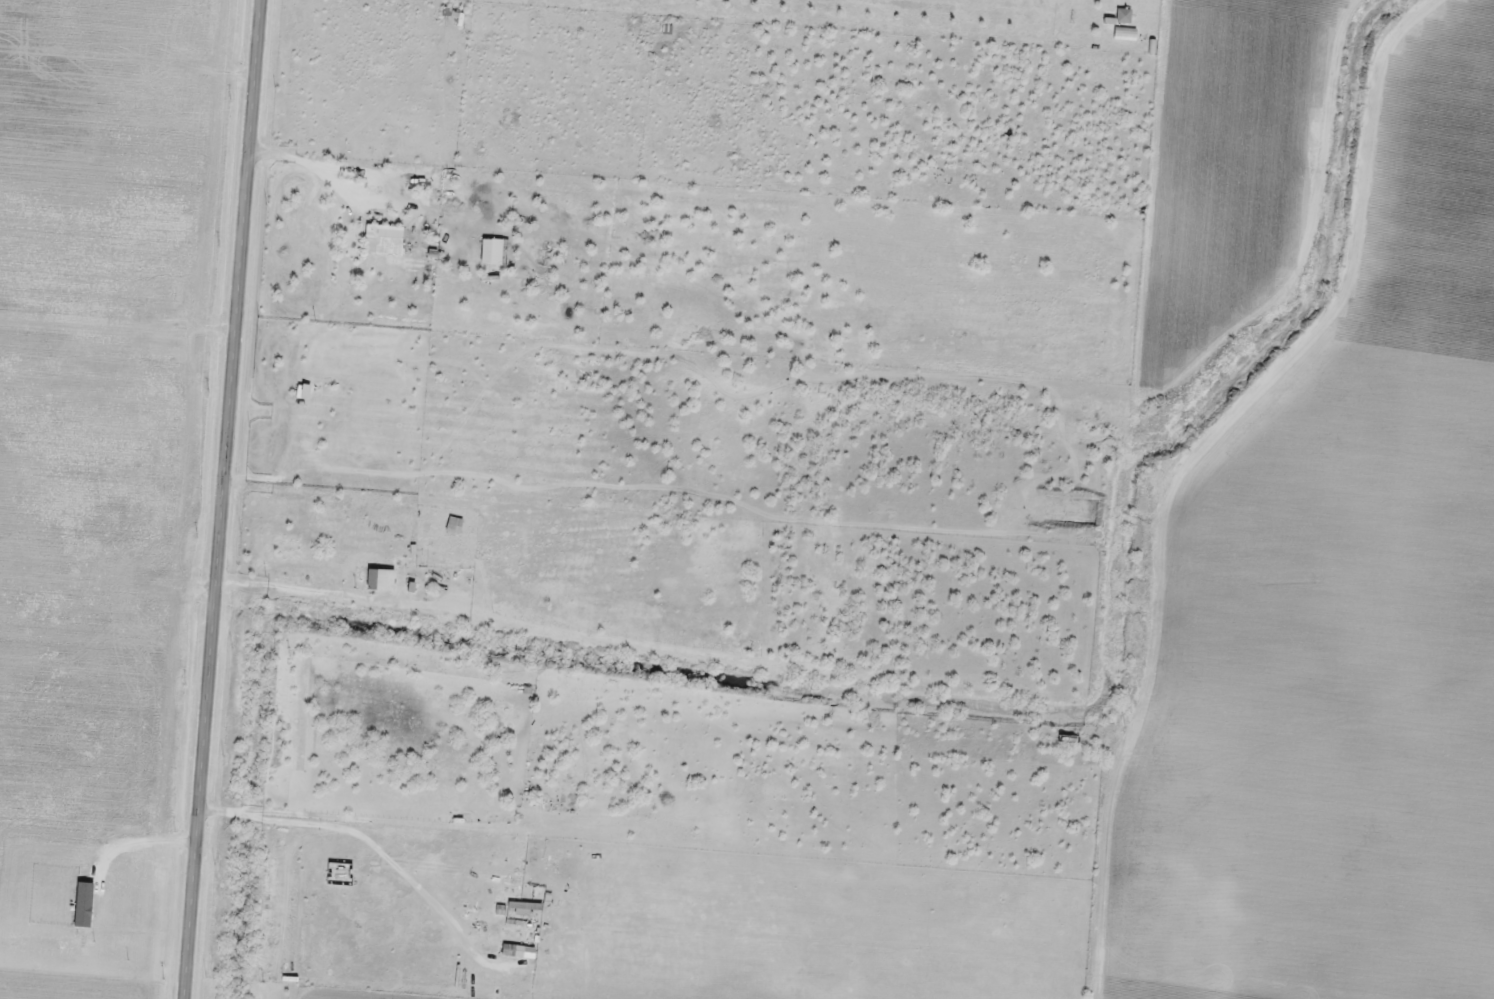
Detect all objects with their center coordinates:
building: (1124, 15)
building: (1126, 33)
building: (390, 245)
road: (220, 499)
building: (339, 873)
building: (525, 907)
building: (512, 950)

